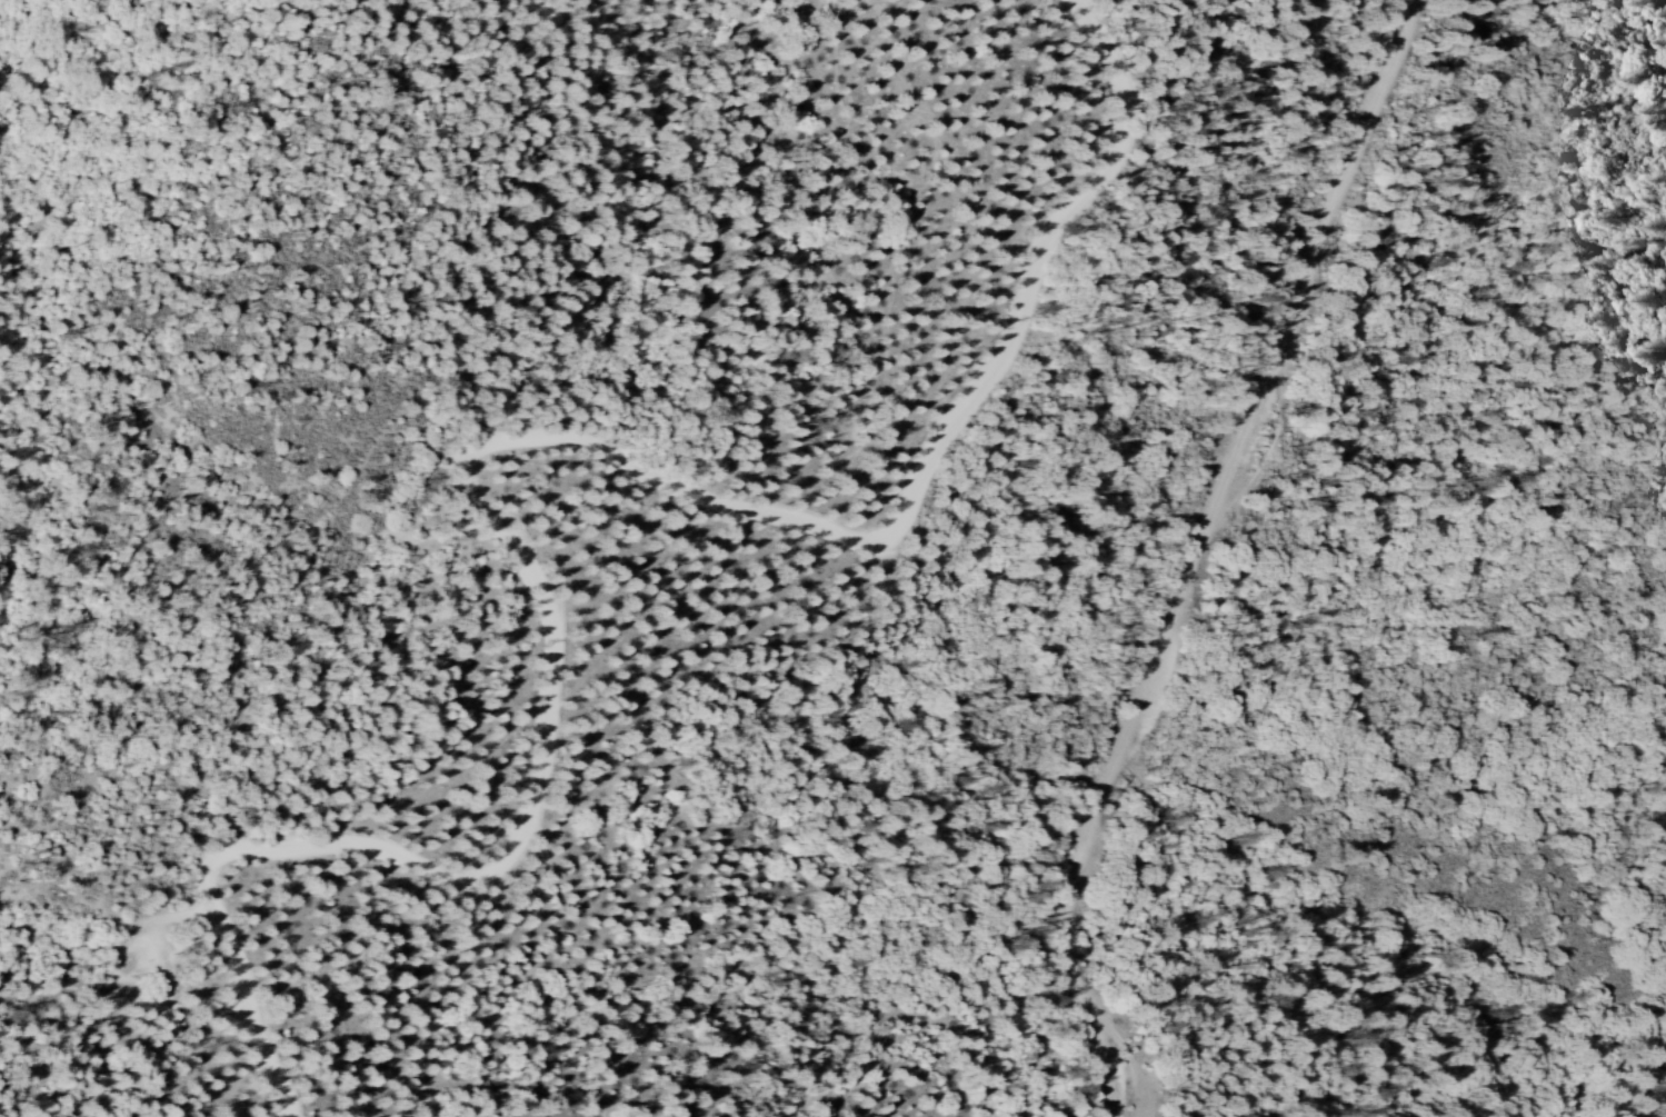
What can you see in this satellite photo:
road: (498, 447)
road: (1198, 556)

